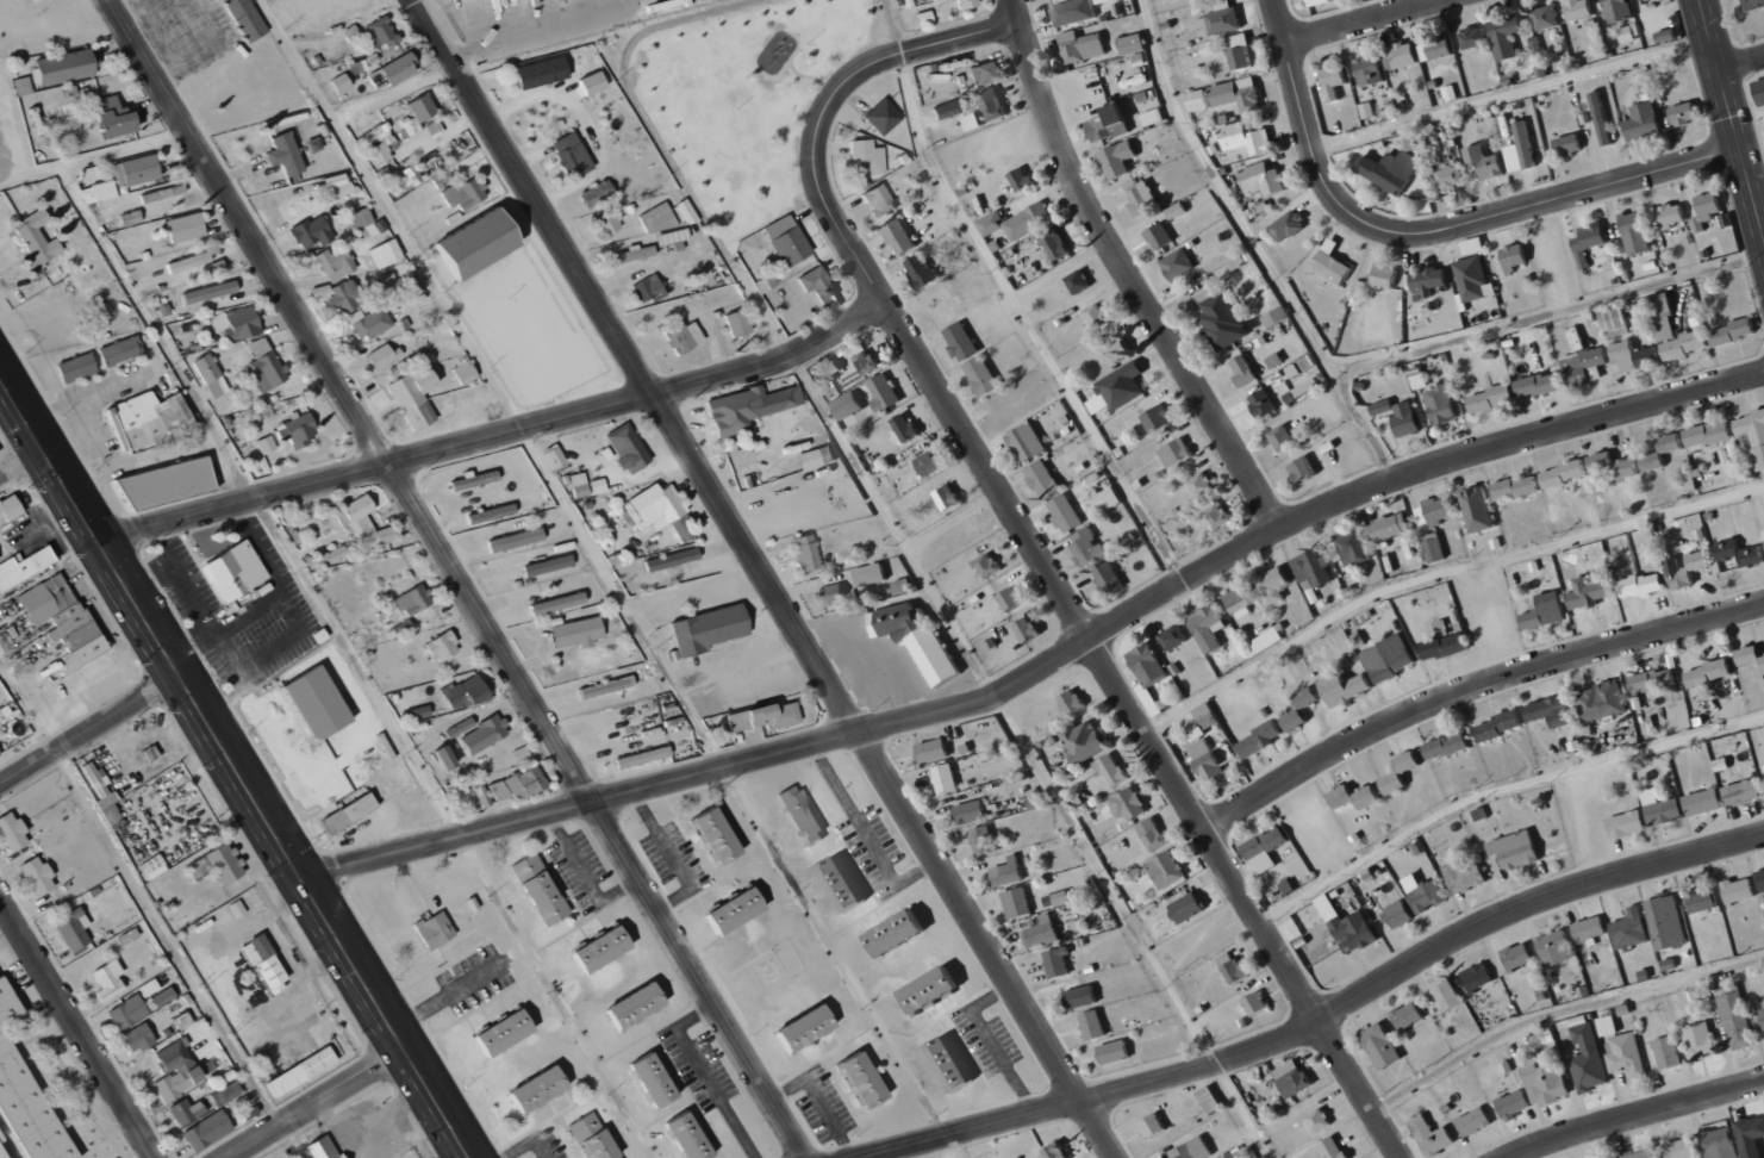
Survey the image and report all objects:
building: (36, 0)
building: (936, 0)
building: (541, 1)
building: (1105, 1)
building: (1648, 1)
building: (1320, 2)
building: (967, 4)
building: (1753, 5)
road: (611, 6)
building: (485, 8)
building: (1579, 10)
building: (1072, 11)
building: (1619, 11)
building: (924, 18)
building: (1224, 18)
building: (1546, 18)
building: (244, 19)
road: (1278, 21)
road: (1361, 21)
building: (384, 32)
building: (1629, 32)
road: (525, 35)
building: (1668, 35)
building: (1475, 37)
building: (1508, 37)
building: (1134, 44)
building: (1082, 46)
building: (1535, 46)
building: (1208, 49)
building: (1438, 49)
building: (1240, 52)
building: (1407, 55)
road: (1741, 61)
building: (66, 67)
building: (399, 68)
building: (1371, 70)
building: (542, 73)
building: (983, 73)
building: (1336, 81)
building: (341, 82)
building: (593, 83)
building: (1758, 88)
building: (1239, 94)
park: (738, 96)
building: (1147, 96)
building: (1199, 100)
building: (990, 104)
building: (423, 108)
building: (946, 111)
building: (1369, 111)
building: (1685, 114)
road: (1732, 116)
building: (114, 117)
building: (883, 117)
building: (1153, 117)
building: (1602, 119)
building: (1645, 122)
building: (1109, 124)
building: (409, 126)
building: (1615, 127)
building: (1247, 138)
building: (313, 144)
building: (378, 144)
building: (1526, 145)
building: (1570, 145)
building: (285, 154)
building: (572, 156)
building: (866, 158)
building: (1118, 160)
building: (1485, 162)
building: (136, 170)
building: (1391, 170)
building: (411, 175)
building: (442, 179)
building: (1265, 179)
building: (1452, 179)
building: (1022, 180)
building: (339, 183)
building: (99, 192)
building: (597, 193)
building: (465, 194)
building: (1143, 198)
building: (181, 201)
building: (879, 201)
building: (1708, 211)
building: (1673, 216)
building: (130, 218)
building: (656, 218)
building: (364, 222)
building: (1029, 222)
building: (609, 223)
building: (992, 224)
road: (1457, 225)
building: (1289, 226)
building: (186, 228)
building: (311, 232)
building: (1637, 234)
building: (1160, 237)
building: (668, 238)
building: (900, 238)
building: (37, 239)
building: (787, 241)
building: (480, 243)
building: (1590, 243)
road: (1254, 244)
building: (1058, 247)
building: (385, 254)
building: (635, 254)
building: (1515, 257)
building: (189, 262)
building: (335, 263)
building: (1178, 263)
building: (1333, 263)
building: (922, 272)
road: (1128, 272)
building: (1386, 276)
building: (1473, 279)
building: (1430, 280)
building: (1079, 282)
building: (766, 284)
building: (817, 284)
building: (648, 289)
building: (210, 292)
building: (344, 297)
building: (1663, 305)
building: (1098, 316)
building: (1277, 317)
building: (1615, 319)
building: (1223, 320)
building: (236, 323)
building: (370, 324)
building: (738, 324)
road: (1027, 325)
building: (1665, 329)
building: (1734, 332)
building: (684, 337)
building: (962, 342)
building: (1685, 345)
building: (258, 347)
building: (1121, 350)
building: (120, 351)
building: (384, 355)
building: (1635, 356)
building: (865, 362)
building: (1585, 366)
building: (76, 367)
building: (1303, 368)
building: (1245, 371)
building: (267, 372)
building: (465, 373)
building: (210, 375)
building: (983, 375)
building: (1420, 381)
building: (1540, 385)
building: (1123, 386)
building: (884, 392)
building: (414, 398)
building: (1491, 399)
building: (848, 405)
building: (1442, 405)
building: (749, 407)
building: (1383, 407)
building: (149, 419)
building: (1158, 419)
building: (1401, 421)
building: (905, 428)
building: (298, 430)
building: (1753, 431)
building: (1710, 434)
road: (495, 436)
building: (1283, 438)
building: (1672, 442)
building: (1029, 443)
building: (266, 444)
building: (628, 448)
building: (1177, 453)
building: (554, 456)
building: (814, 457)
building: (1654, 461)
road: (21, 462)
building: (929, 463)
building: (1615, 466)
building: (1303, 471)
building: (1566, 473)
building: (1043, 478)
building: (474, 480)
building: (1689, 480)
building: (168, 484)
building: (579, 484)
building: (1201, 485)
building: (1517, 487)
building: (948, 497)
building: (1108, 500)
building: (10, 506)
building: (652, 508)
building: (1478, 509)
building: (1434, 511)
building: (492, 512)
building: (1066, 513)
building: (1220, 516)
building: (367, 521)
building: (1391, 525)
building: (682, 530)
building: (516, 538)
building: (1410, 547)
building: (1089, 548)
building: (1351, 548)
building: (1434, 550)
building: (806, 552)
road: (1031, 552)
building: (1740, 553)
building: (334, 554)
building: (672, 559)
building: (549, 565)
building: (987, 565)
building: (24, 566)
building: (1315, 568)
building: (1689, 568)
building: (235, 571)
building: (871, 574)
road: (1438, 575)
building: (1108, 577)
road: (461, 579)
road: (766, 579)
building: (1276, 585)
building: (1643, 585)
building: (1590, 592)
building: (830, 596)
building: (45, 598)
building: (1011, 598)
building: (413, 600)
building: (1242, 600)
building: (557, 603)
building: (1546, 611)
building: (709, 629)
building: (1028, 629)
building: (1210, 631)
building: (578, 633)
building: (76, 636)
building: (1174, 637)
building: (918, 640)
building: (1265, 641)
building: (1446, 647)
building: (444, 648)
building: (1751, 655)
building: (1391, 659)
road: (1049, 667)
building: (1710, 673)
building: (1149, 674)
building: (1654, 679)
building: (606, 686)
building: (1346, 687)
road: (1471, 690)
building: (466, 693)
building: (1308, 698)
building: (1603, 701)
building: (1072, 702)
road: (1002, 709)
building: (418, 711)
building: (1552, 711)
building: (775, 715)
building: (738, 720)
building: (1296, 720)
building: (1199, 721)
building: (1501, 726)
building: (460, 727)
road: (89, 730)
building: (485, 734)
building: (1261, 739)
building: (1085, 740)
building: (1448, 746)
building: (934, 751)
building: (1223, 751)
building: (151, 753)
building: (521, 753)
building: (0, 754)
building: (447, 757)
building: (1208, 760)
road: (233, 766)
building: (1111, 770)
building: (1402, 772)
building: (946, 779)
building: (526, 780)
building: (499, 790)
road: (1498, 790)
building: (1744, 792)
building: (1355, 796)
building: (104, 798)
building: (1704, 802)
building: (1130, 805)
building: (1662, 808)
building: (971, 811)
building: (350, 813)
building: (1099, 814)
building: (803, 815)
building: (1627, 824)
building: (12, 832)
building: (1153, 834)
building: (717, 835)
building: (983, 841)
building: (1270, 849)
building: (1516, 849)
building: (218, 865)
building: (525, 865)
building: (1167, 870)
building: (1009, 872)
building: (38, 877)
building: (1465, 877)
building: (1762, 878)
building: (843, 884)
building: (1739, 890)
building: (1426, 894)
building: (546, 898)
building: (1062, 898)
building: (1703, 899)
building: (1017, 903)
building: (1189, 907)
building: (736, 911)
building: (1400, 914)
building: (1308, 916)
building: (1666, 922)
building: (1350, 926)
building: (1589, 928)
building: (1631, 928)
building: (71, 929)
building: (435, 929)
building: (899, 933)
building: (1042, 933)
building: (1554, 947)
building: (604, 948)
building: (1519, 955)
building: (1058, 961)
building: (264, 964)
building: (1234, 967)
building: (1477, 977)
building: (108, 979)
building: (148, 988)
building: (931, 991)
building: (1448, 995)
building: (163, 996)
road: (555, 997)
building: (1082, 997)
building: (1257, 1004)
building: (637, 1006)
building: (6, 1009)
building: (127, 1011)
road: (1559, 1011)
building: (1763, 1014)
building: (1409, 1015)
road: (1323, 1019)
building: (1737, 1020)
building: (1092, 1025)
building: (1608, 1025)
road: (80, 1026)
building: (805, 1028)
building: (504, 1033)
building: (137, 1038)
building: (1700, 1040)
building: (1383, 1045)
building: (1115, 1052)
building: (1668, 1052)
building: (1626, 1054)
building: (1589, 1059)
building: (952, 1066)
building: (175, 1070)
building: (301, 1071)
building: (1294, 1077)
building: (655, 1081)
building: (864, 1081)
building: (1546, 1082)
building: (538, 1090)
building: (225, 1094)
building: (1213, 1098)
building: (1515, 1103)
road: (318, 1104)
building: (186, 1112)
building: (26, 1115)
road: (1638, 1115)
building: (1320, 1120)
building: (1475, 1120)
building: (1154, 1125)
building: (584, 1126)
building: (207, 1131)
building: (690, 1135)
building: (1433, 1135)
building: (1752, 1135)
building: (1720, 1143)
building: (600, 1146)
building: (324, 1147)
road: (950, 1147)
building: (1335, 1147)
building: (1682, 1148)
building: (4, 1150)
building: (1193, 1150)
building: (1058, 1151)
building: (1644, 1153)
building: (1613, 1157)

